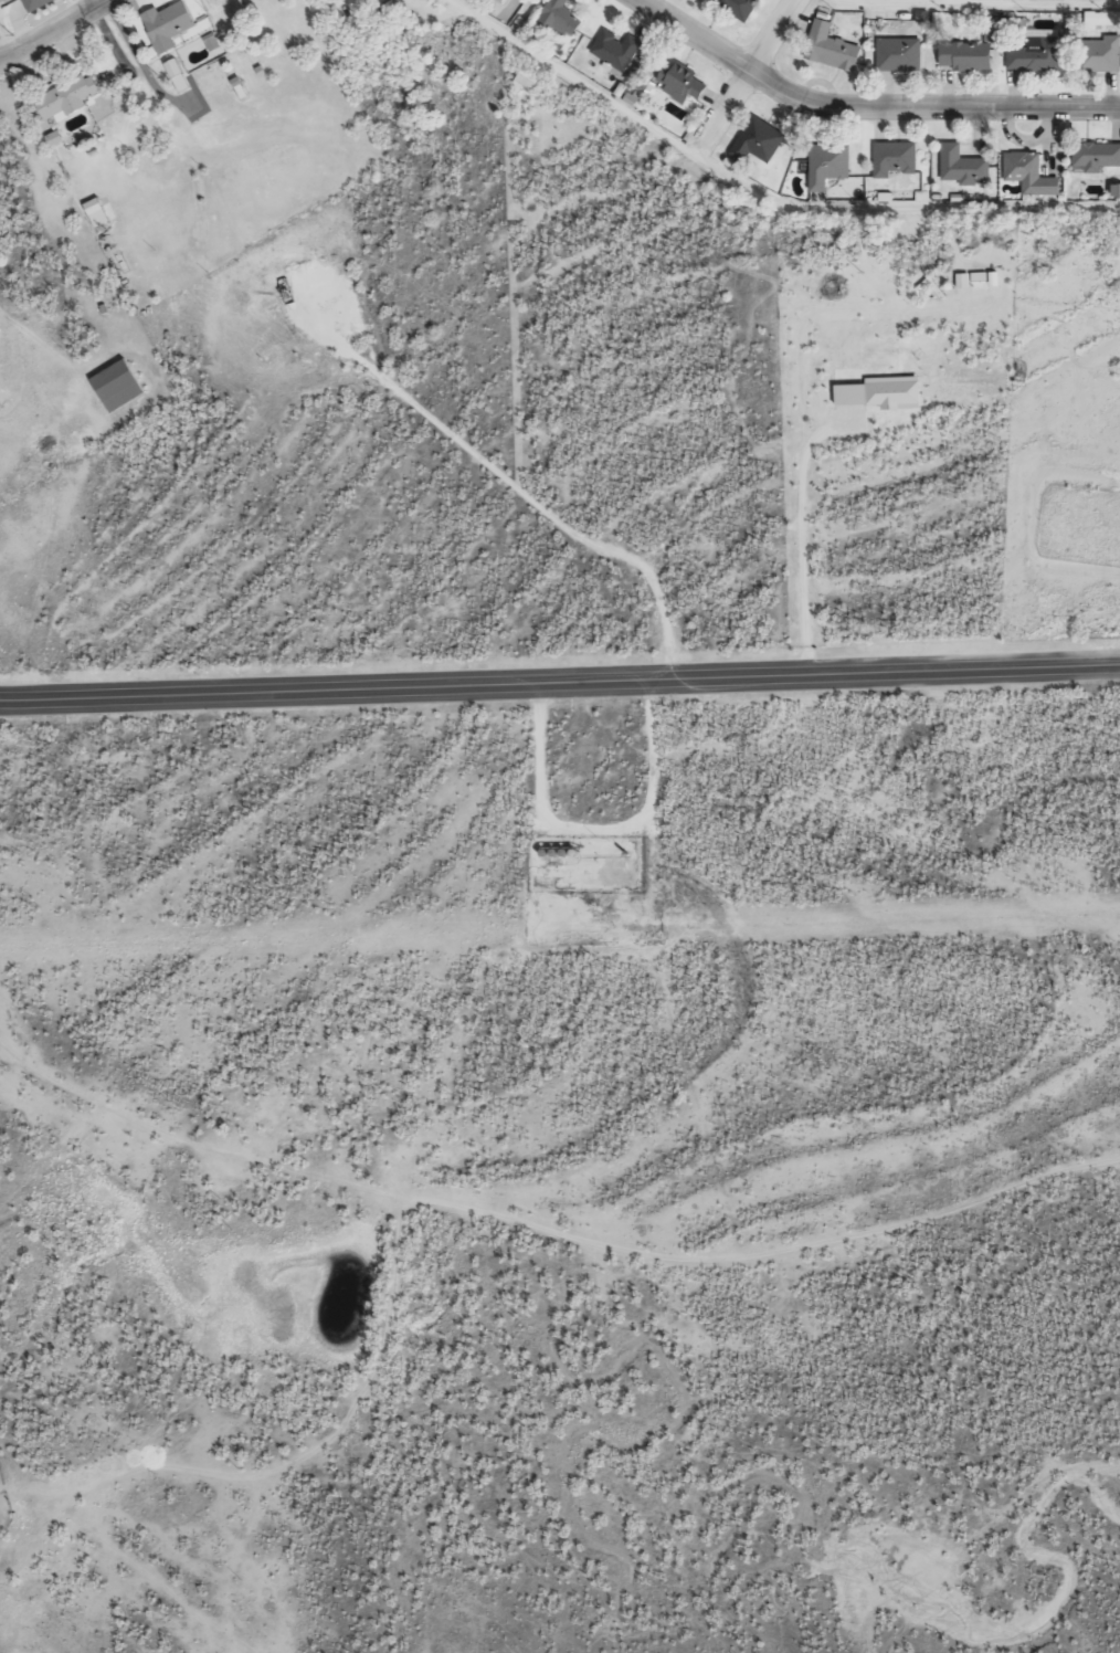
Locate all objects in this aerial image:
building: (36, 3)
building: (740, 7)
building: (503, 8)
road: (976, 9)
building: (561, 17)
building: (1102, 18)
building: (170, 24)
road: (8, 33)
road: (54, 33)
road: (697, 34)
building: (833, 45)
building: (617, 51)
building: (900, 53)
building: (1037, 53)
building: (1101, 53)
building: (969, 54)
road: (747, 77)
building: (528, 78)
building: (684, 84)
building: (71, 97)
road: (931, 104)
building: (55, 137)
building: (760, 139)
building: (1097, 155)
building: (896, 157)
building: (830, 162)
building: (964, 165)
building: (1032, 172)
road: (760, 190)
building: (101, 210)
building: (995, 277)
building: (973, 280)
building: (926, 284)
building: (119, 385)
building: (883, 391)
road: (559, 678)

